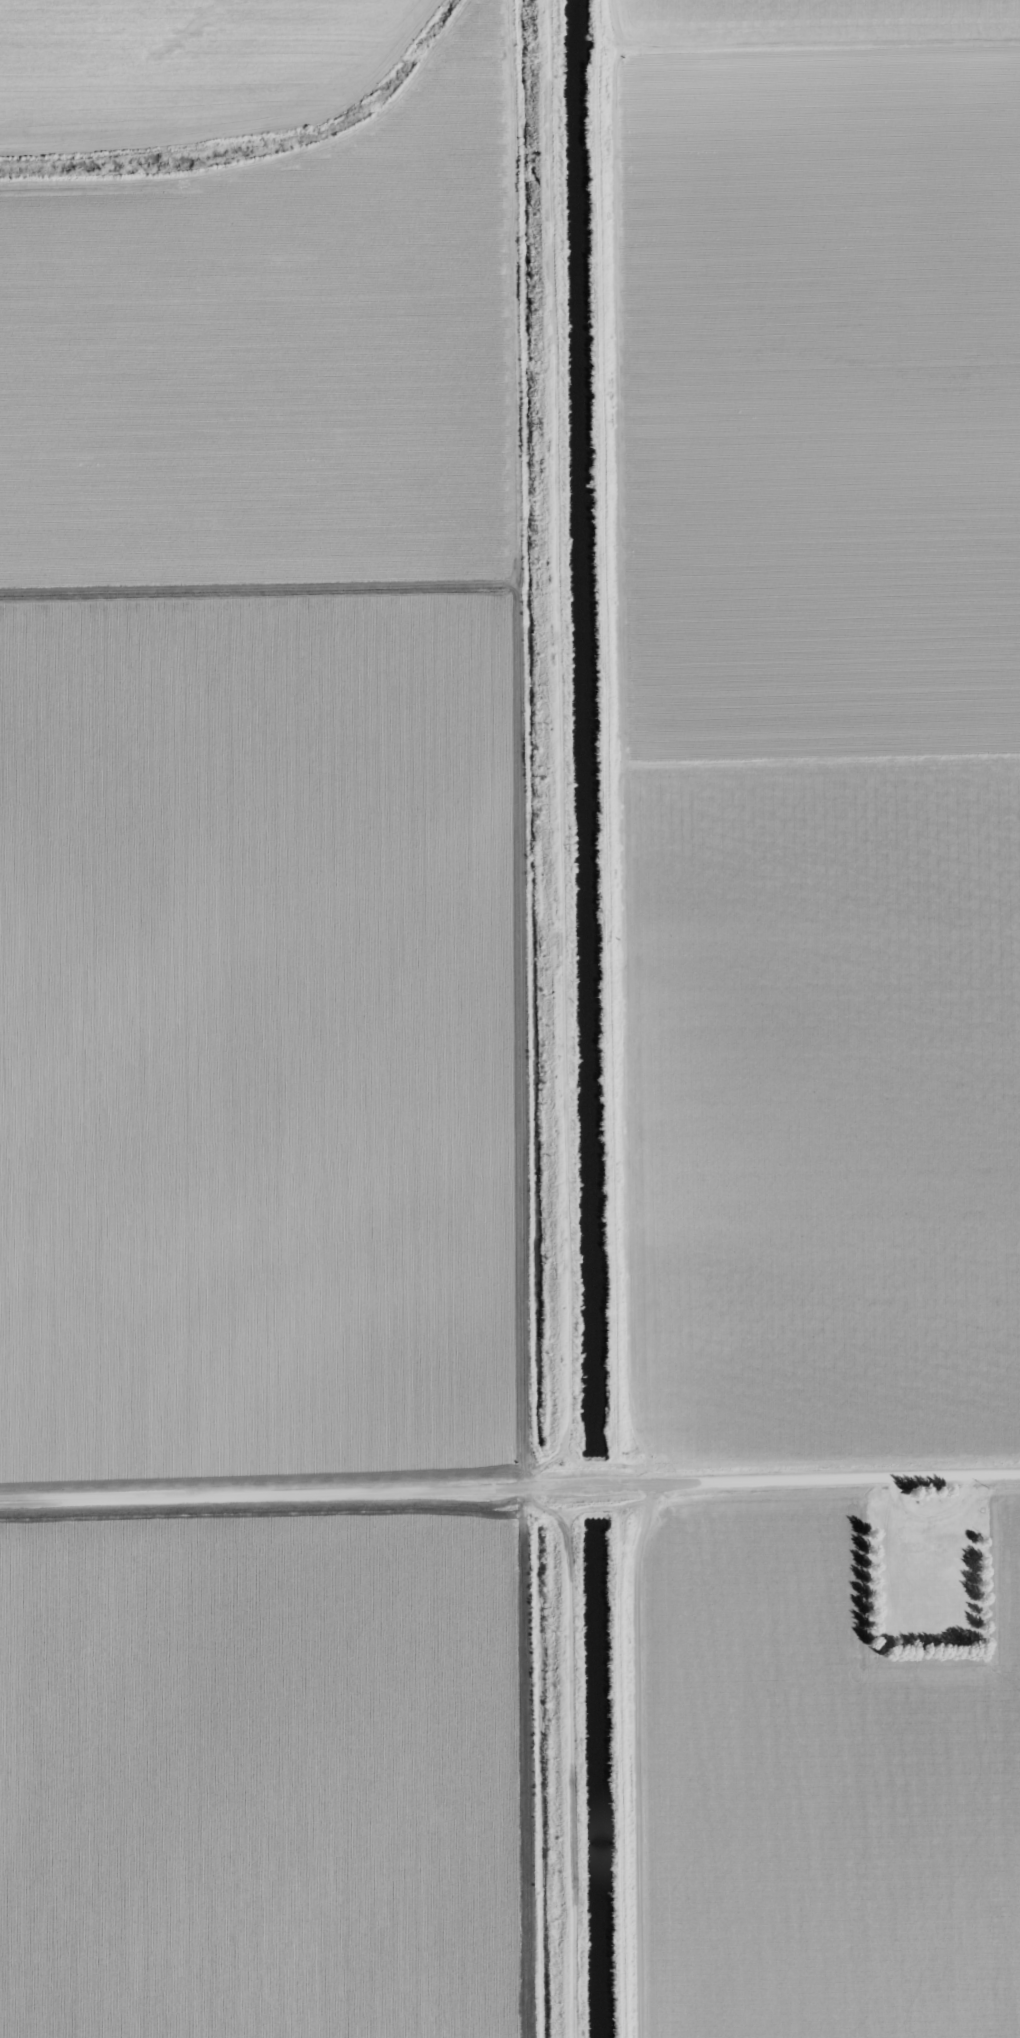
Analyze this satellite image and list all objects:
road: (553, 742)
road: (508, 1486)
building: (946, 1539)

